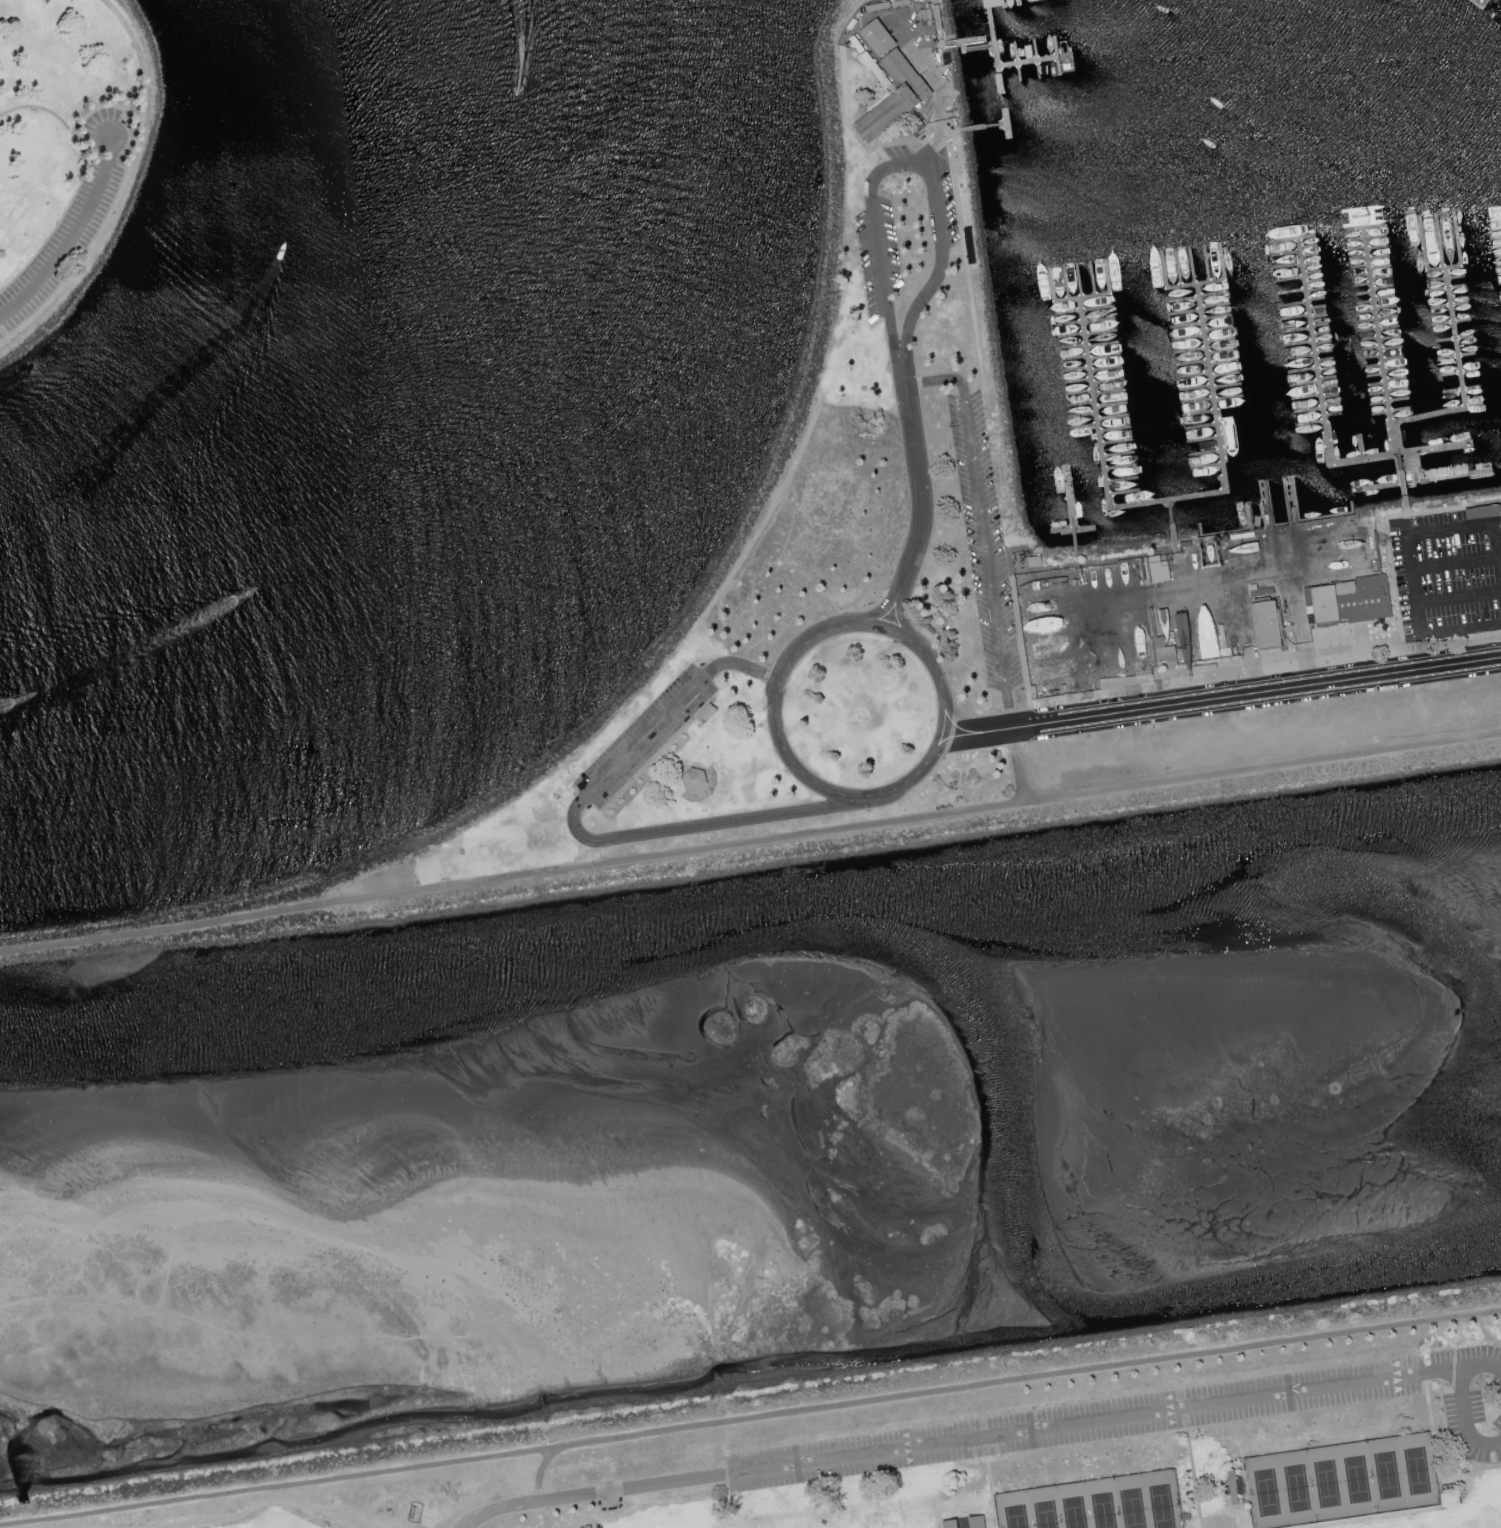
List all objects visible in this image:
pier: (1018, 2)
building: (994, 3)
pier: (1004, 3)
pier: (1454, 4)
pier: (989, 23)
pier: (974, 41)
pier: (1035, 49)
pier: (1015, 52)
road: (141, 54)
pier: (1056, 55)
pier: (996, 63)
pier: (1038, 69)
pier: (1018, 71)
pier: (999, 78)
building: (888, 81)
pier: (1006, 123)
pier: (986, 126)
road: (75, 133)
park: (68, 153)
road: (907, 167)
parking lot: (940, 196)
parking lot: (71, 227)
road: (74, 237)
road: (94, 246)
parking lot: (868, 264)
pier: (1195, 285)
pier: (1081, 297)
pier: (1379, 340)
pier: (1459, 374)
pier: (1323, 421)
pier: (1402, 476)
road: (918, 492)
pier: (1163, 500)
road: (1405, 507)
pier: (1172, 518)
road: (1384, 521)
road: (980, 525)
road: (1416, 529)
parking lot: (981, 537)
building: (1033, 560)
road: (1453, 561)
building: (1157, 568)
road: (1458, 595)
building: (1349, 600)
building: (1264, 623)
building: (1162, 649)
road: (773, 687)
road: (1427, 688)
road: (1254, 691)
building: (705, 711)
road: (975, 730)
parking lot: (642, 734)
parking lot: (1261, 734)
road: (1258, 735)
road: (1015, 763)
road: (1261, 766)
building: (693, 779)
road: (580, 833)
road: (510, 875)
parking lot: (373, 882)
river: (750, 923)
road: (1484, 1331)
road: (1482, 1364)
road: (750, 1417)
parking lot: (1149, 1418)
road: (1463, 1419)
road: (1433, 1440)
road: (960, 1441)
park: (1011, 1456)
road: (537, 1472)
road: (1193, 1477)
park: (1342, 1481)
building: (1232, 1485)
road: (991, 1492)
park: (1096, 1504)
road: (1413, 1511)
park: (273, 1519)
building: (977, 1521)
building: (950, 1523)

